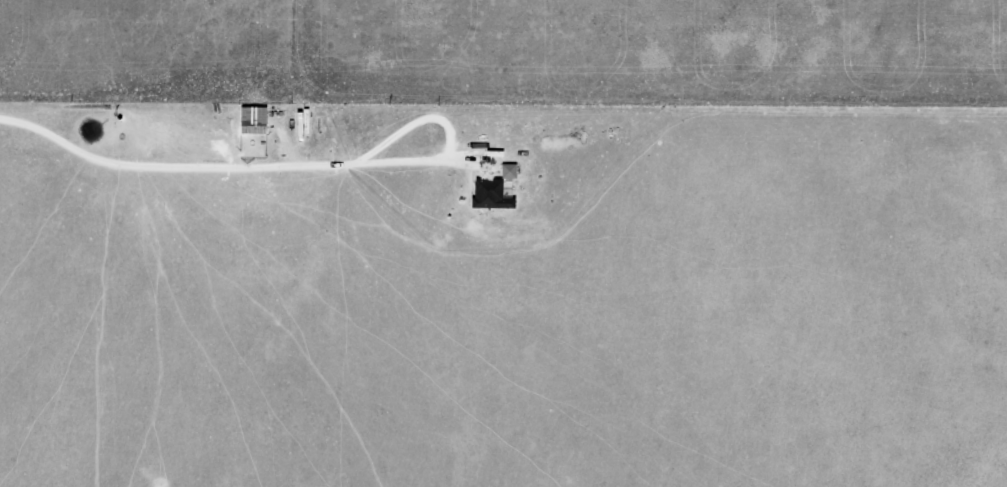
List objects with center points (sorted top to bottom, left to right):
building: (253, 120)

